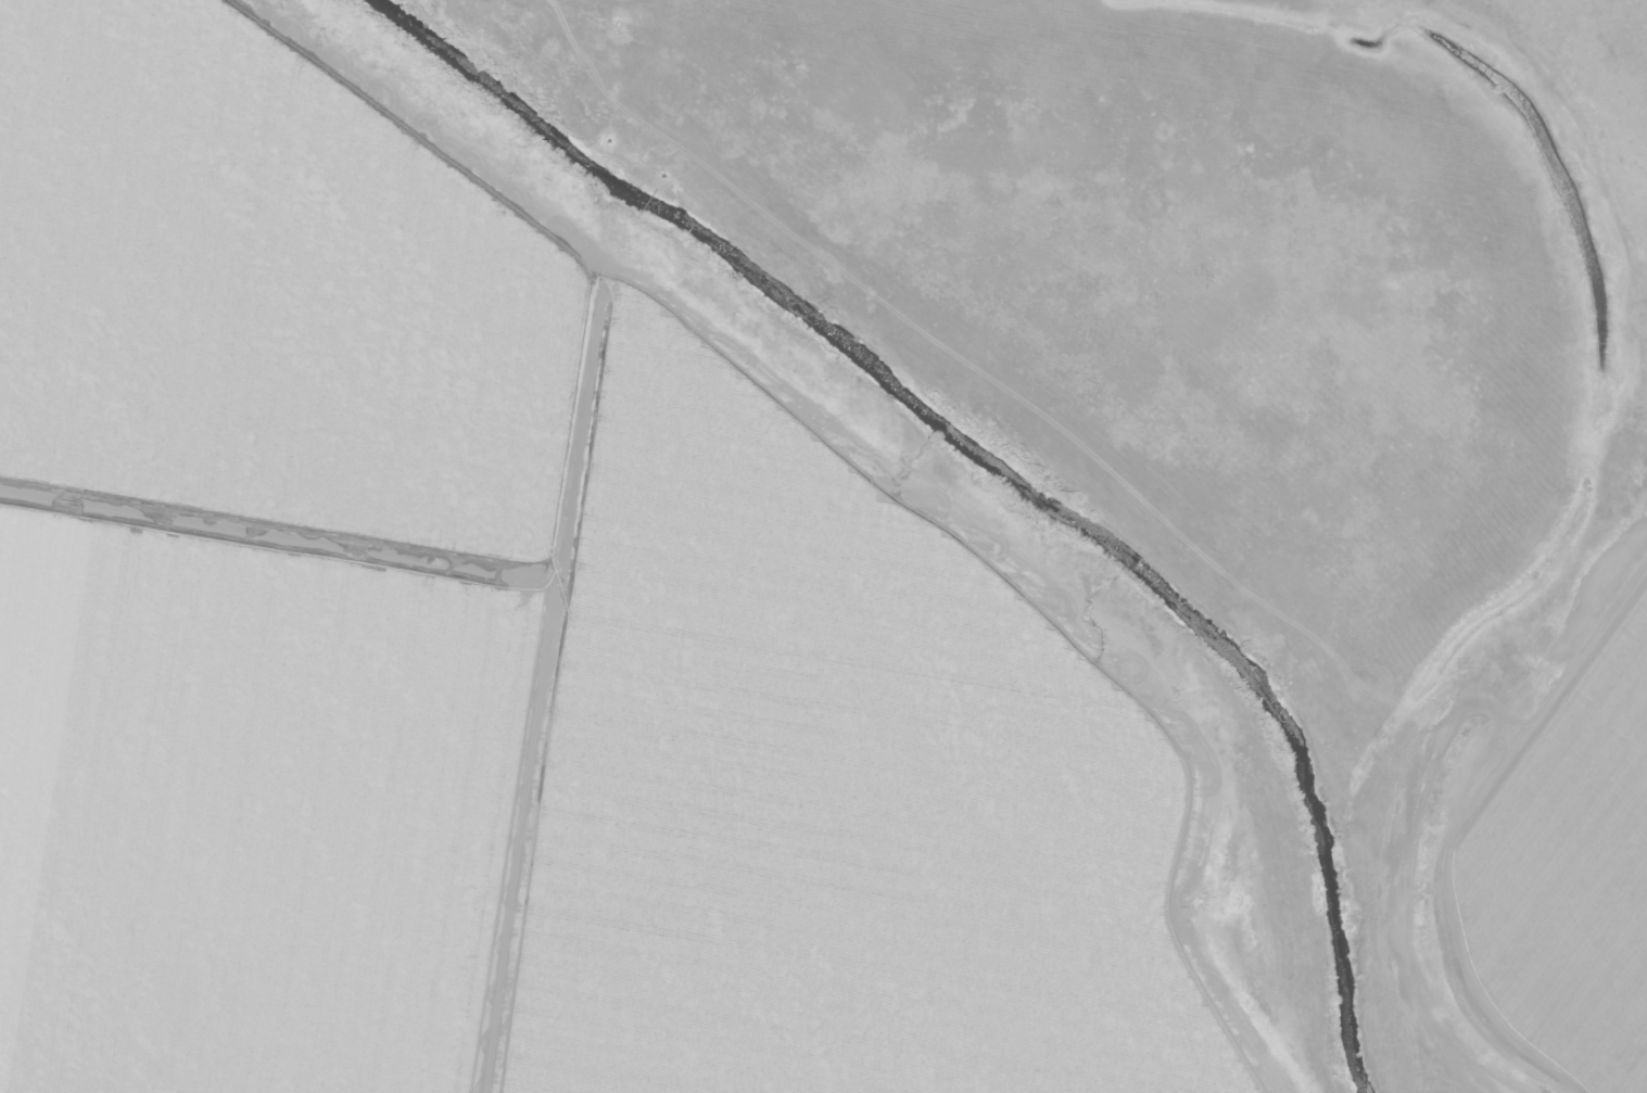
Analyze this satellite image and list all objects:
river: (895, 385)

